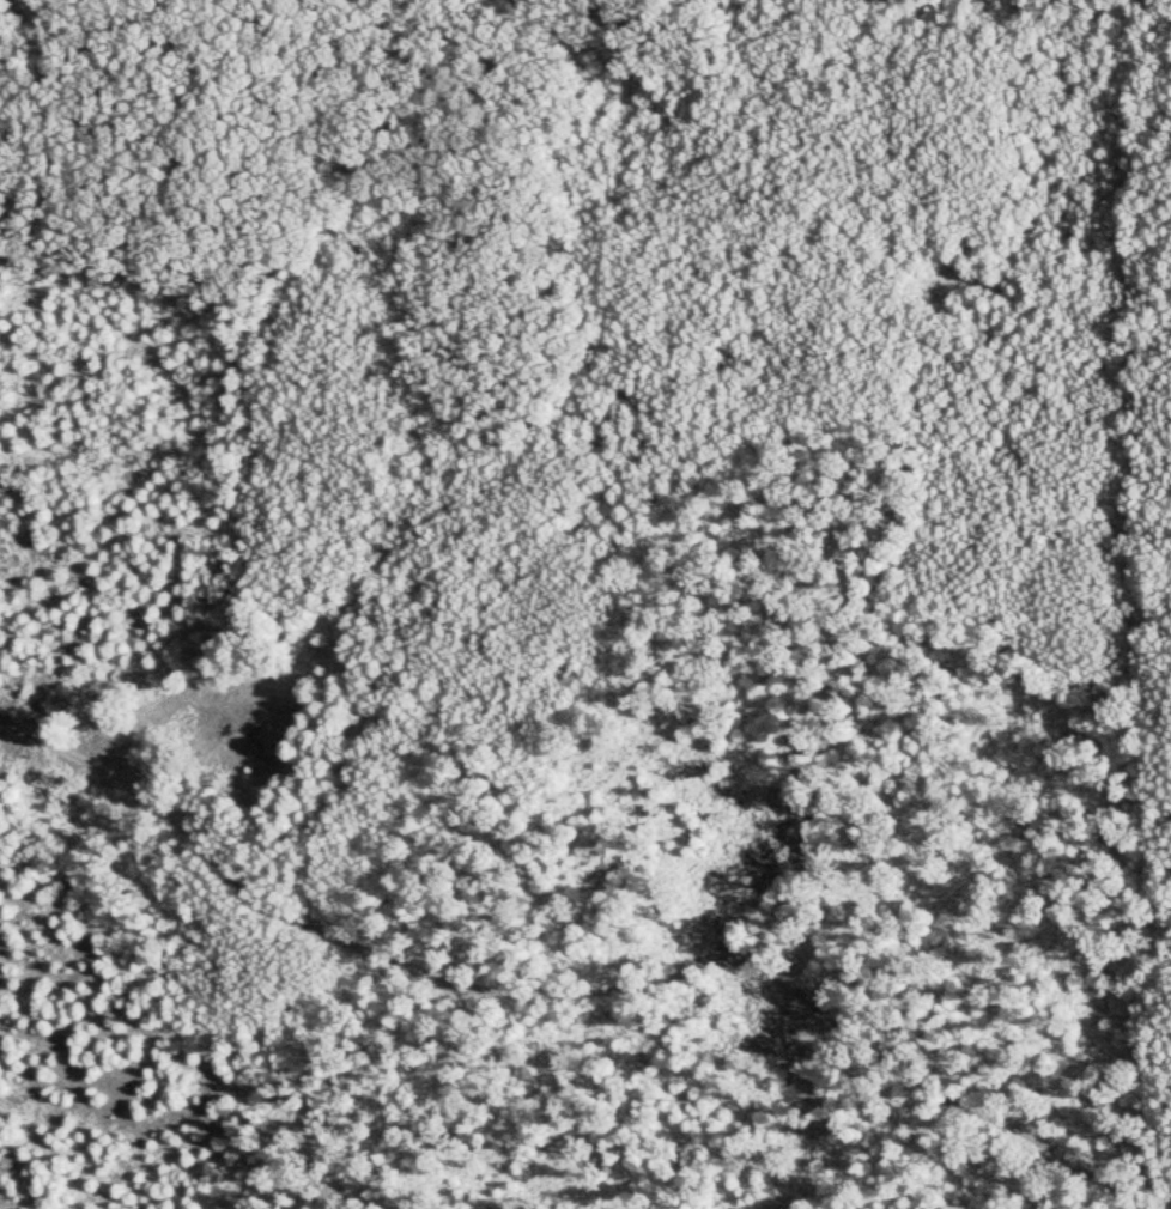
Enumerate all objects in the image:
road: (580, 991)

